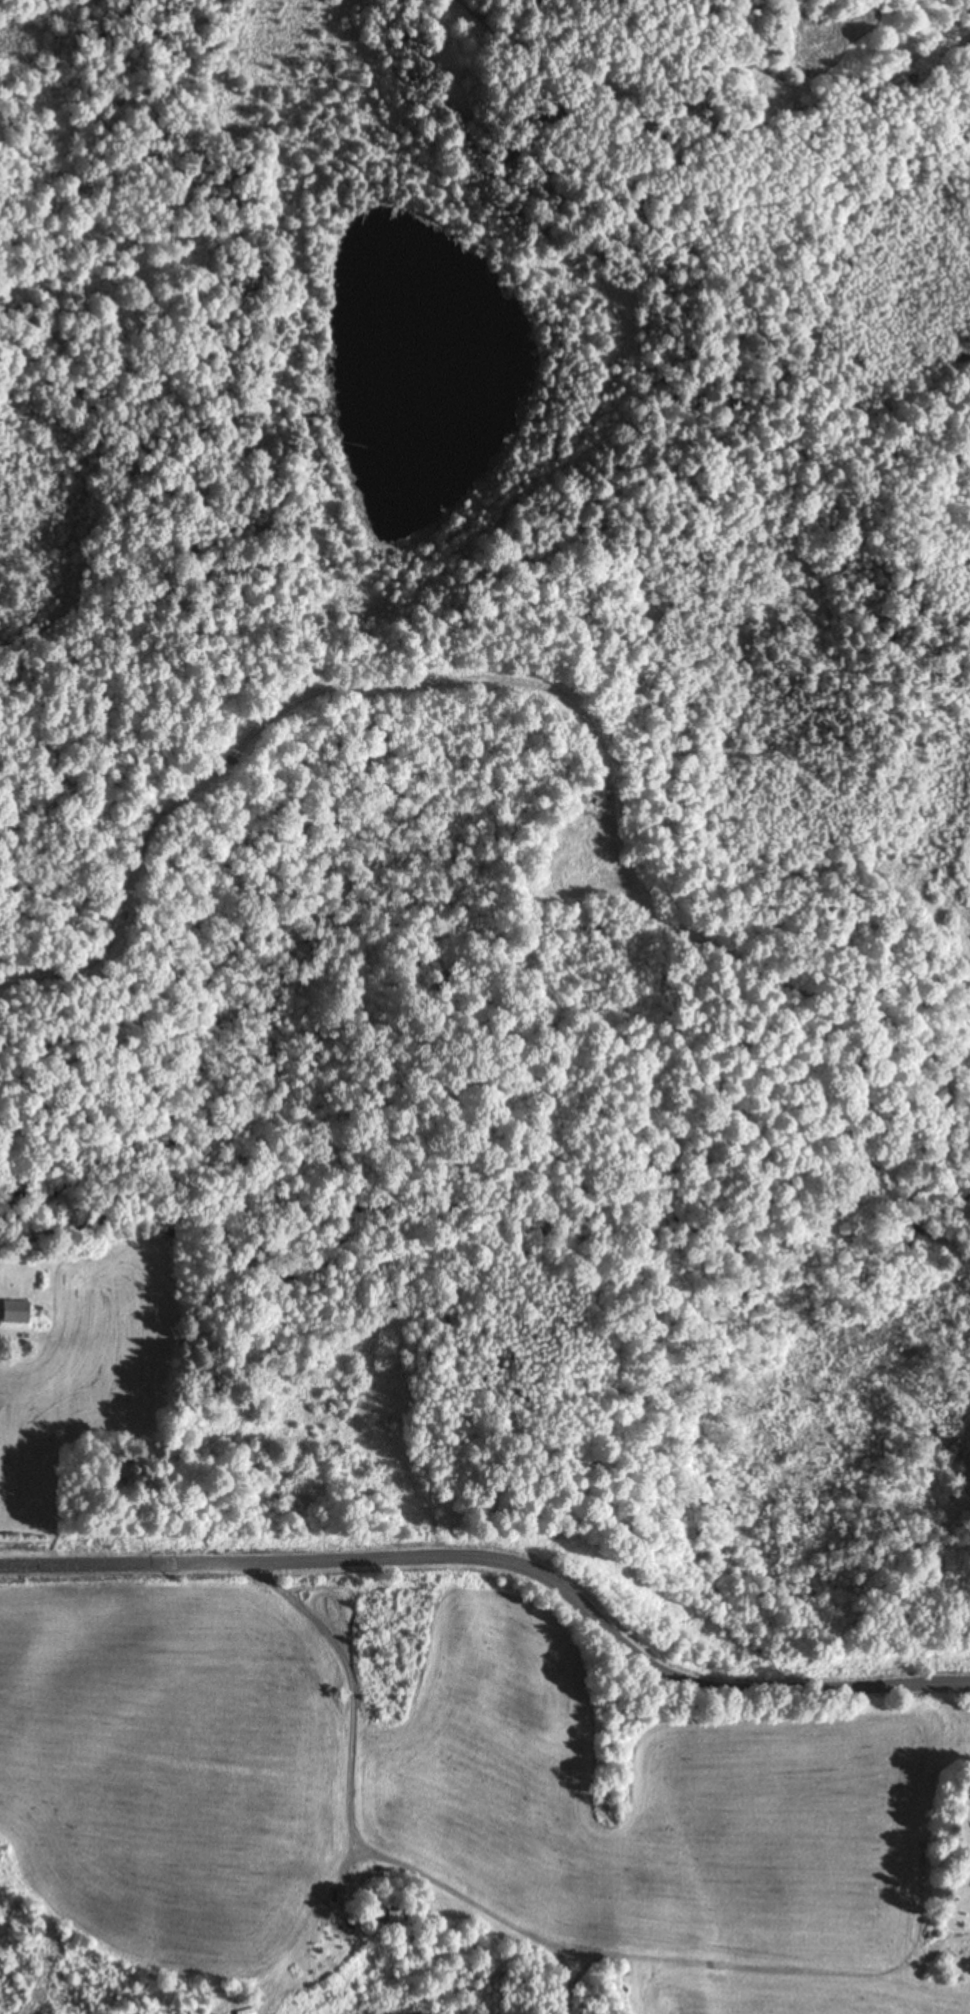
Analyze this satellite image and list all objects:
building: (15, 1312)
road: (495, 1571)
building: (958, 1867)

